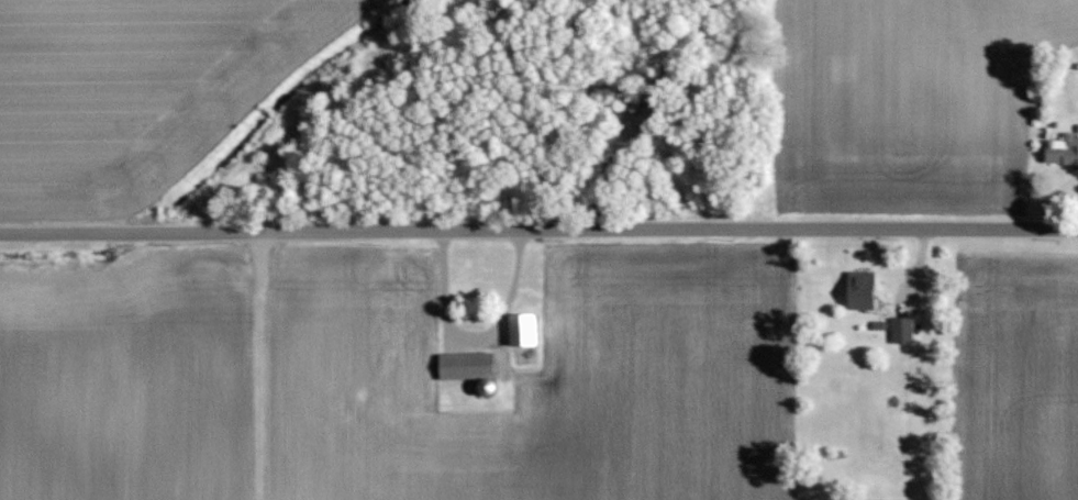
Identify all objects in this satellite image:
building: (1062, 152)
road: (538, 223)
building: (859, 290)
building: (901, 330)
building: (536, 340)
building: (410, 343)
building: (466, 366)

